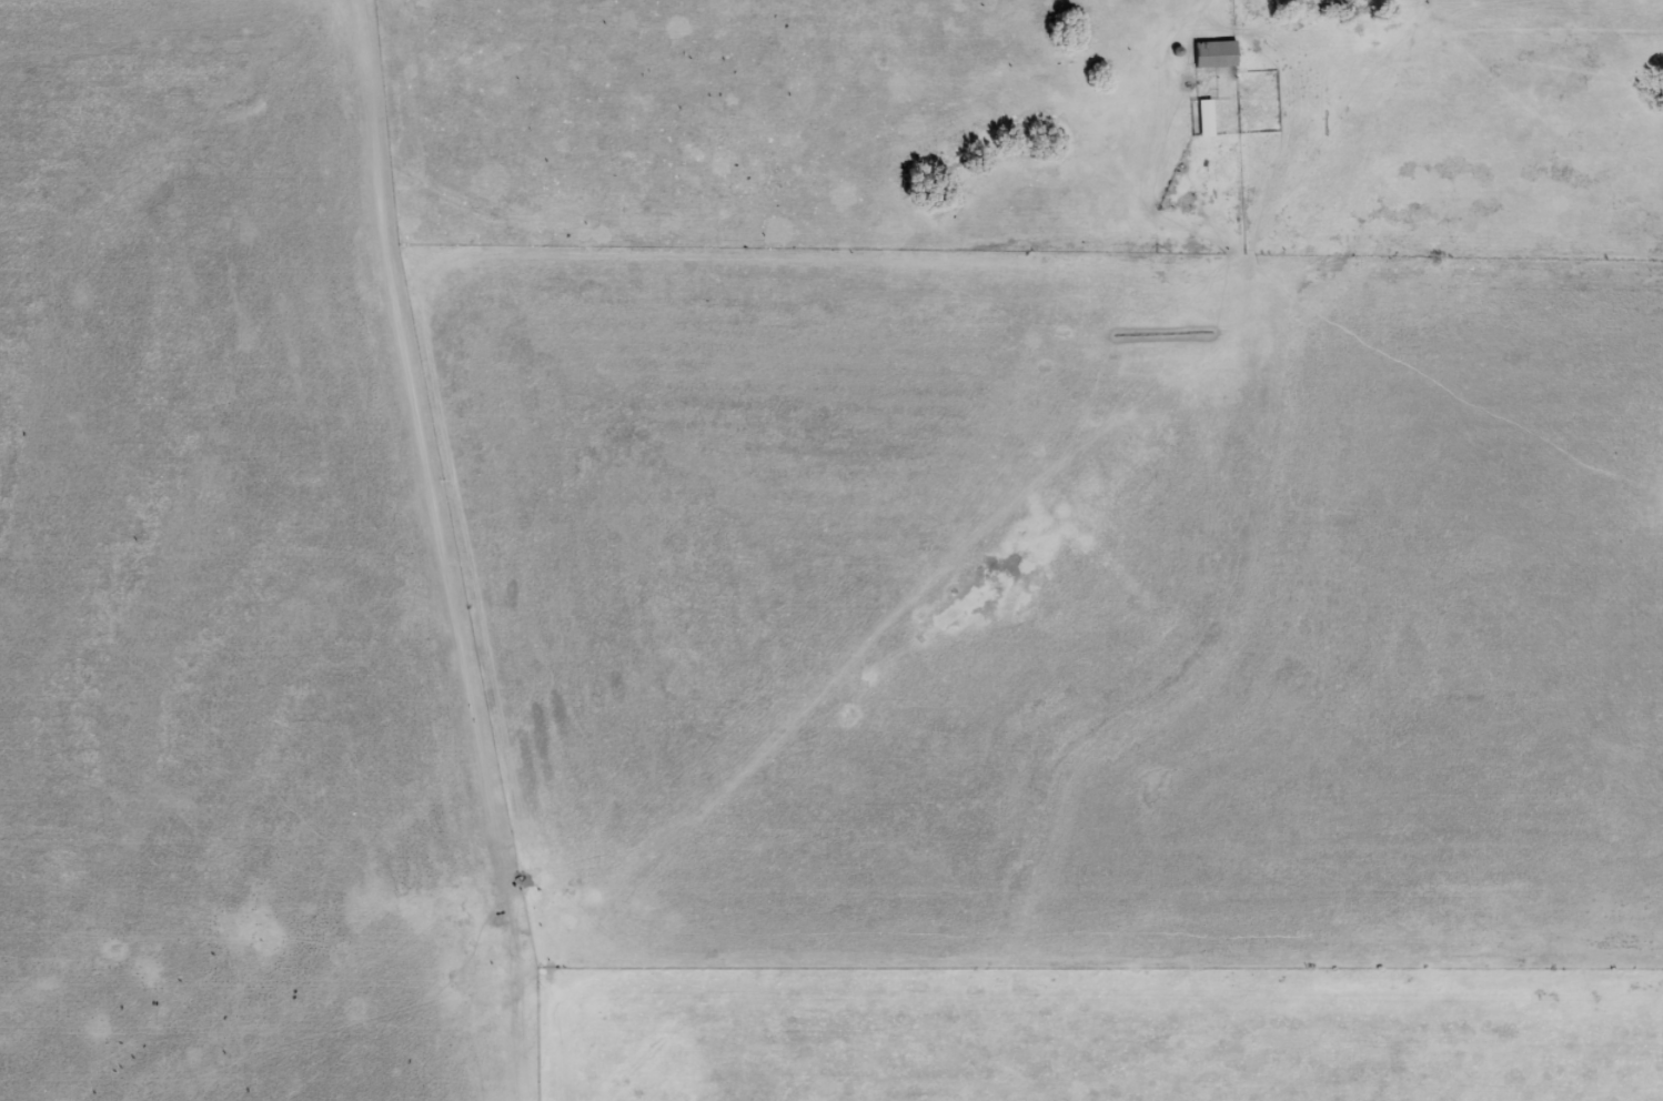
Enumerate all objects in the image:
building: (1217, 55)
building: (1207, 120)

